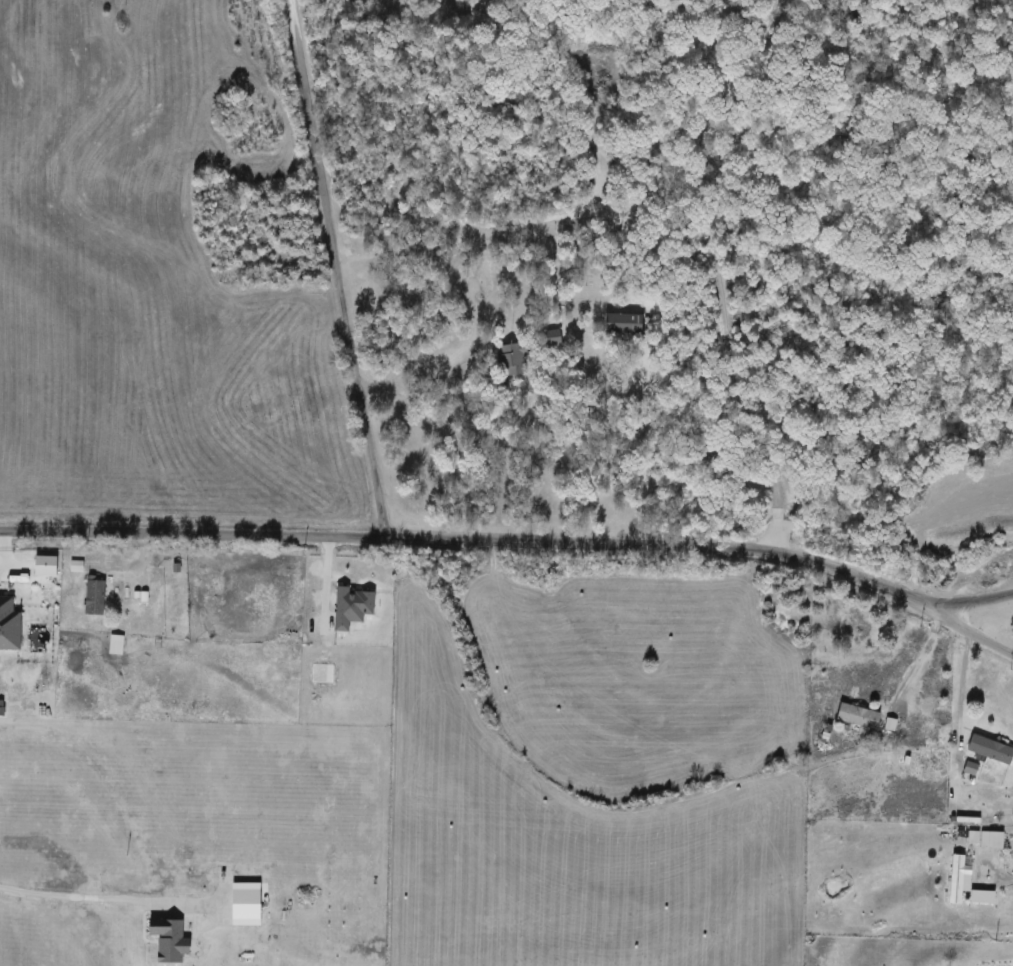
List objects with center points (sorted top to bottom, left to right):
road: (397, 249)
building: (481, 269)
road: (335, 270)
building: (625, 324)
building: (515, 358)
road: (425, 396)
road: (650, 454)
road: (517, 541)
building: (45, 565)
building: (97, 598)
road: (973, 601)
road: (912, 659)
road: (954, 688)
building: (860, 717)
building: (991, 750)
road: (1005, 879)
road: (100, 897)

